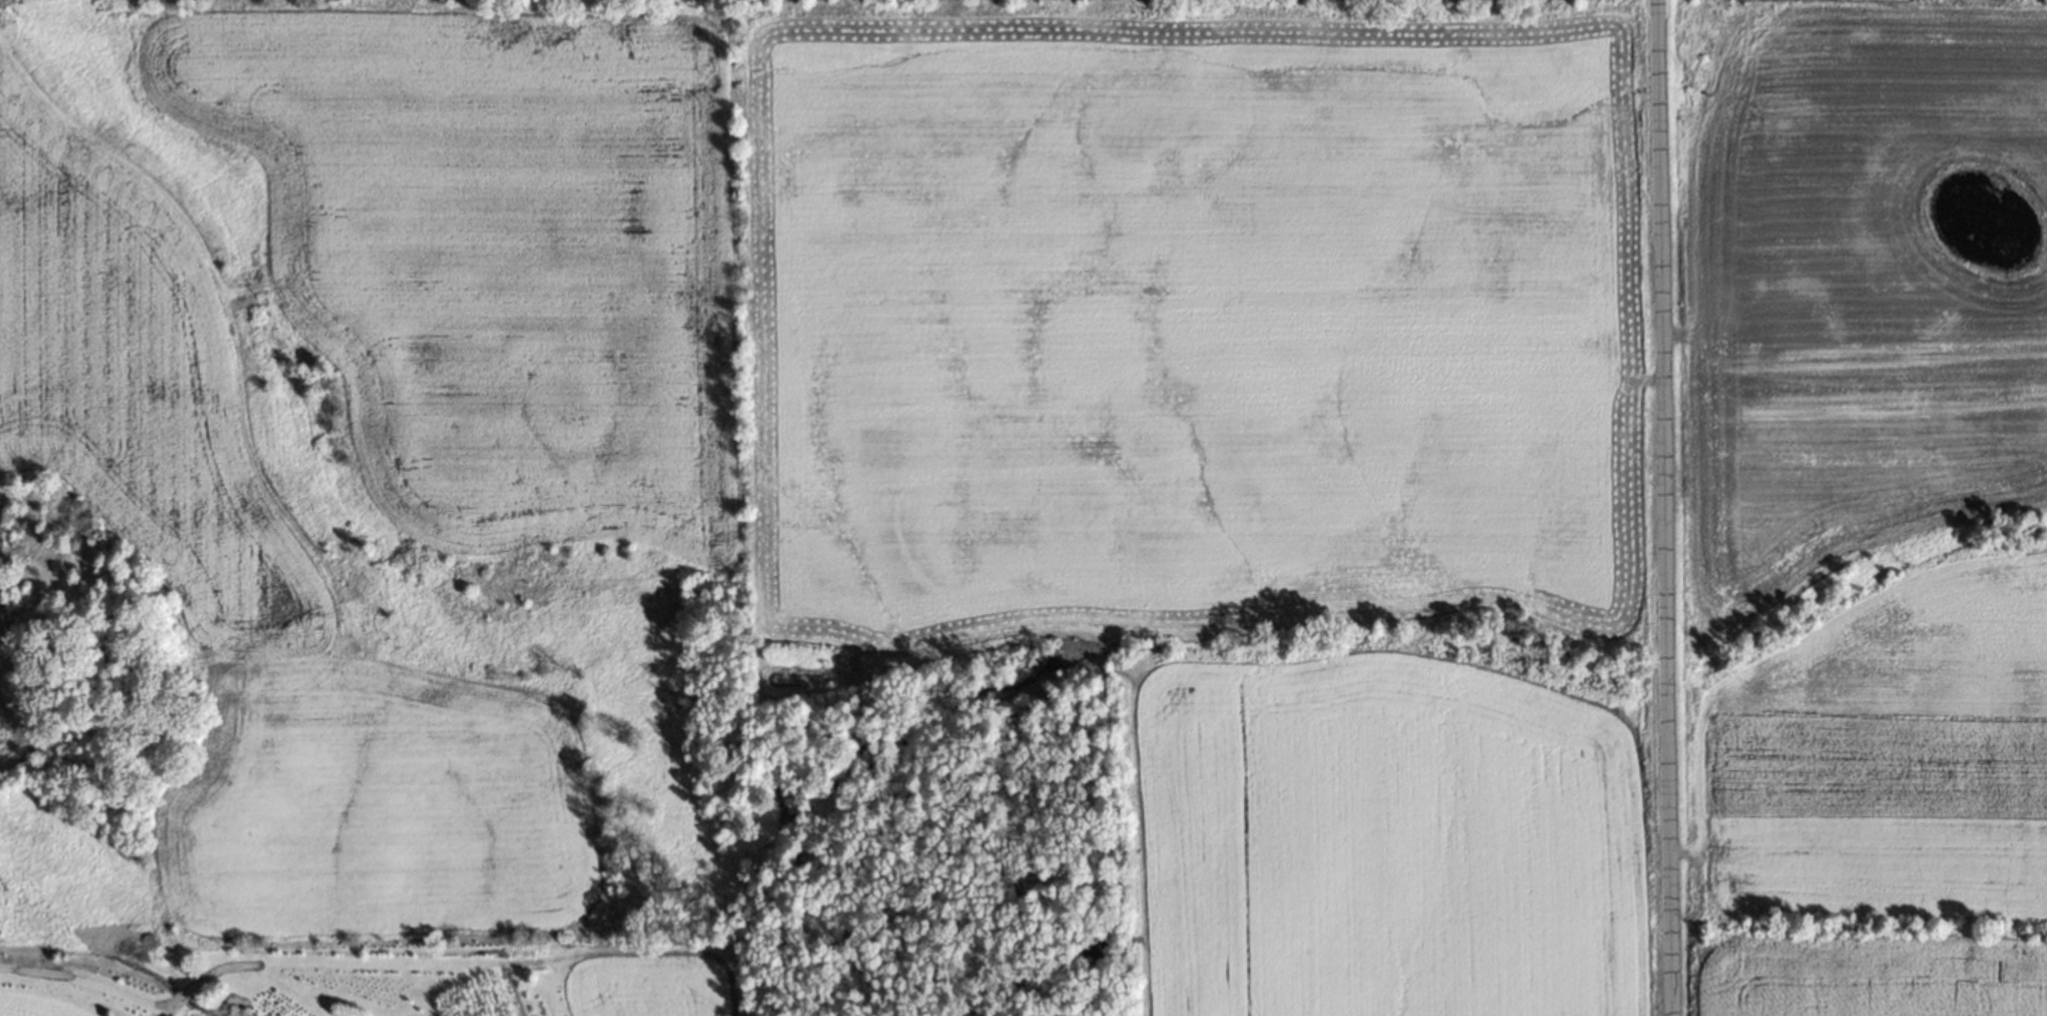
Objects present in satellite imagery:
road: (1666, 507)

